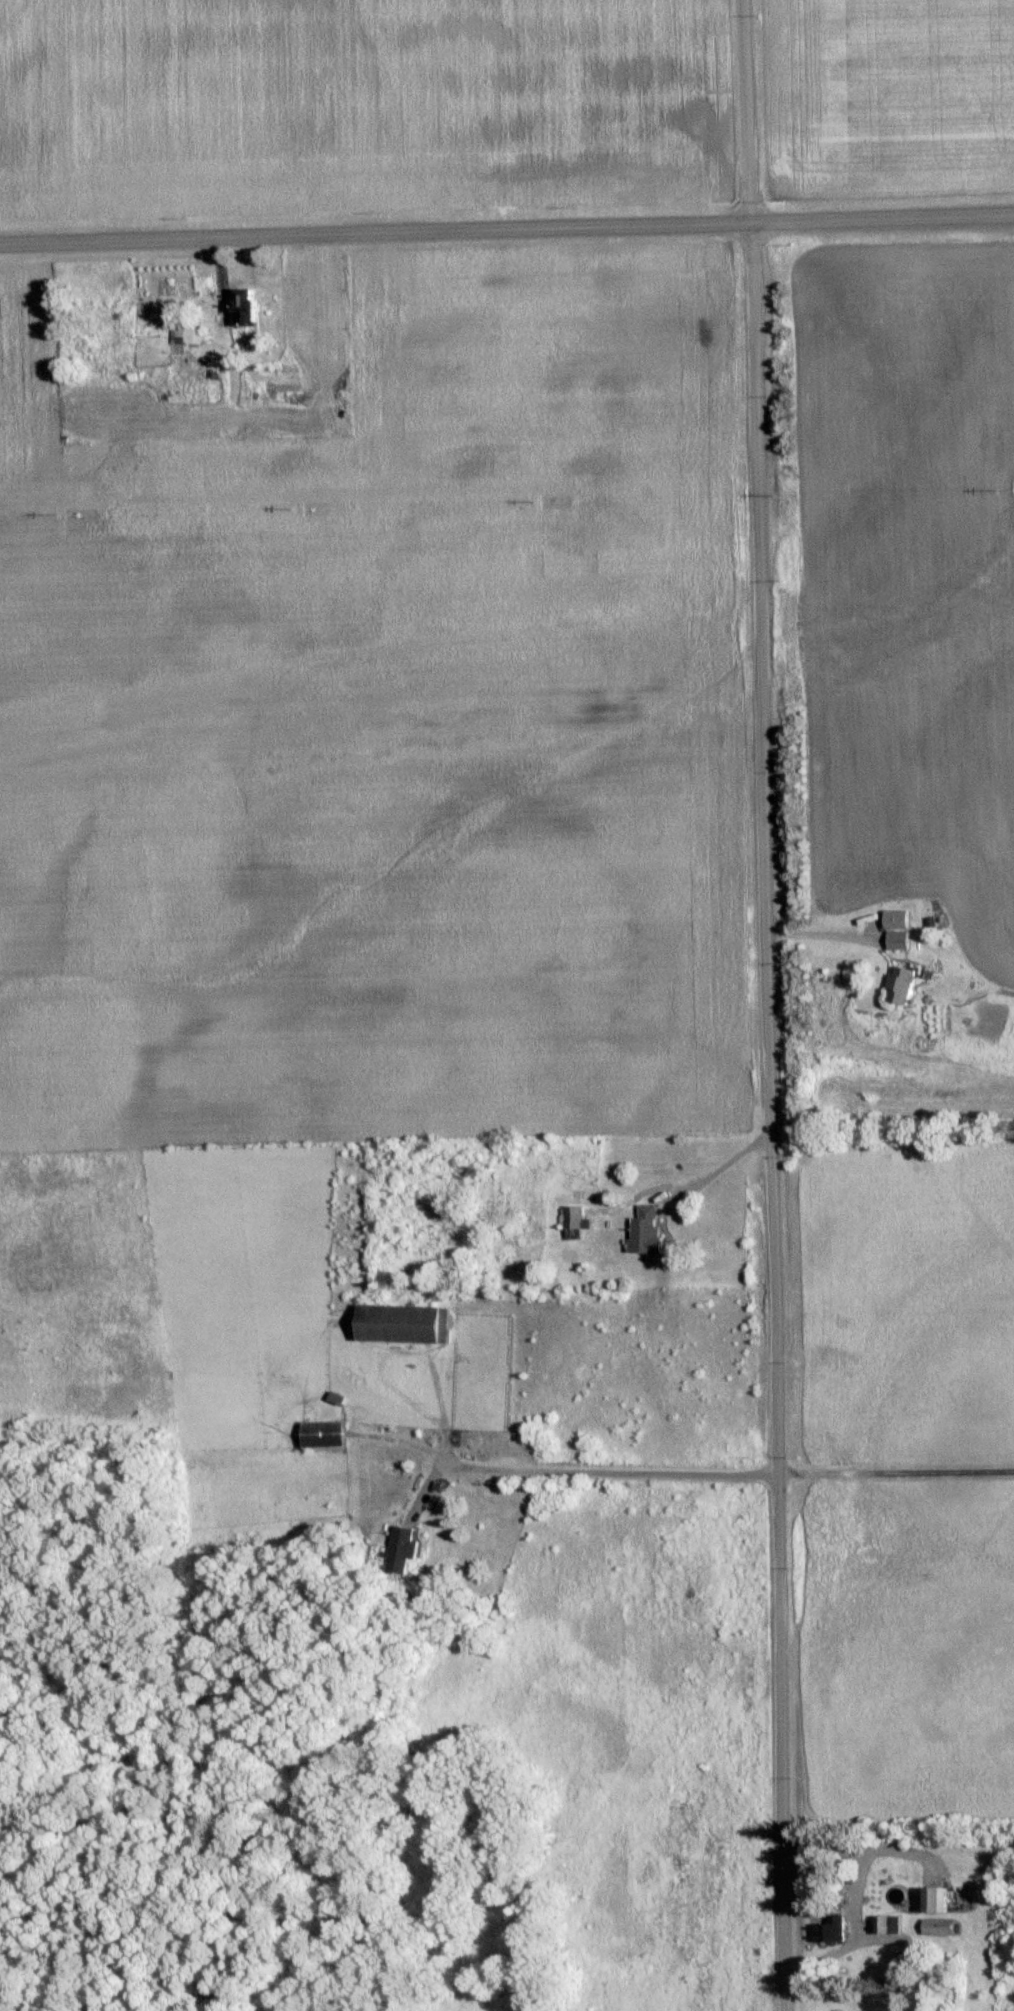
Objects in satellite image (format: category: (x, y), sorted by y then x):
road: (507, 231)
building: (250, 307)
building: (187, 334)
building: (901, 917)
building: (902, 938)
building: (907, 982)
road: (761, 1005)
building: (579, 1215)
building: (649, 1230)
building: (406, 1321)
building: (326, 1432)
building: (405, 1548)
building: (940, 1897)
building: (891, 1922)
building: (941, 1925)
building: (833, 1928)

